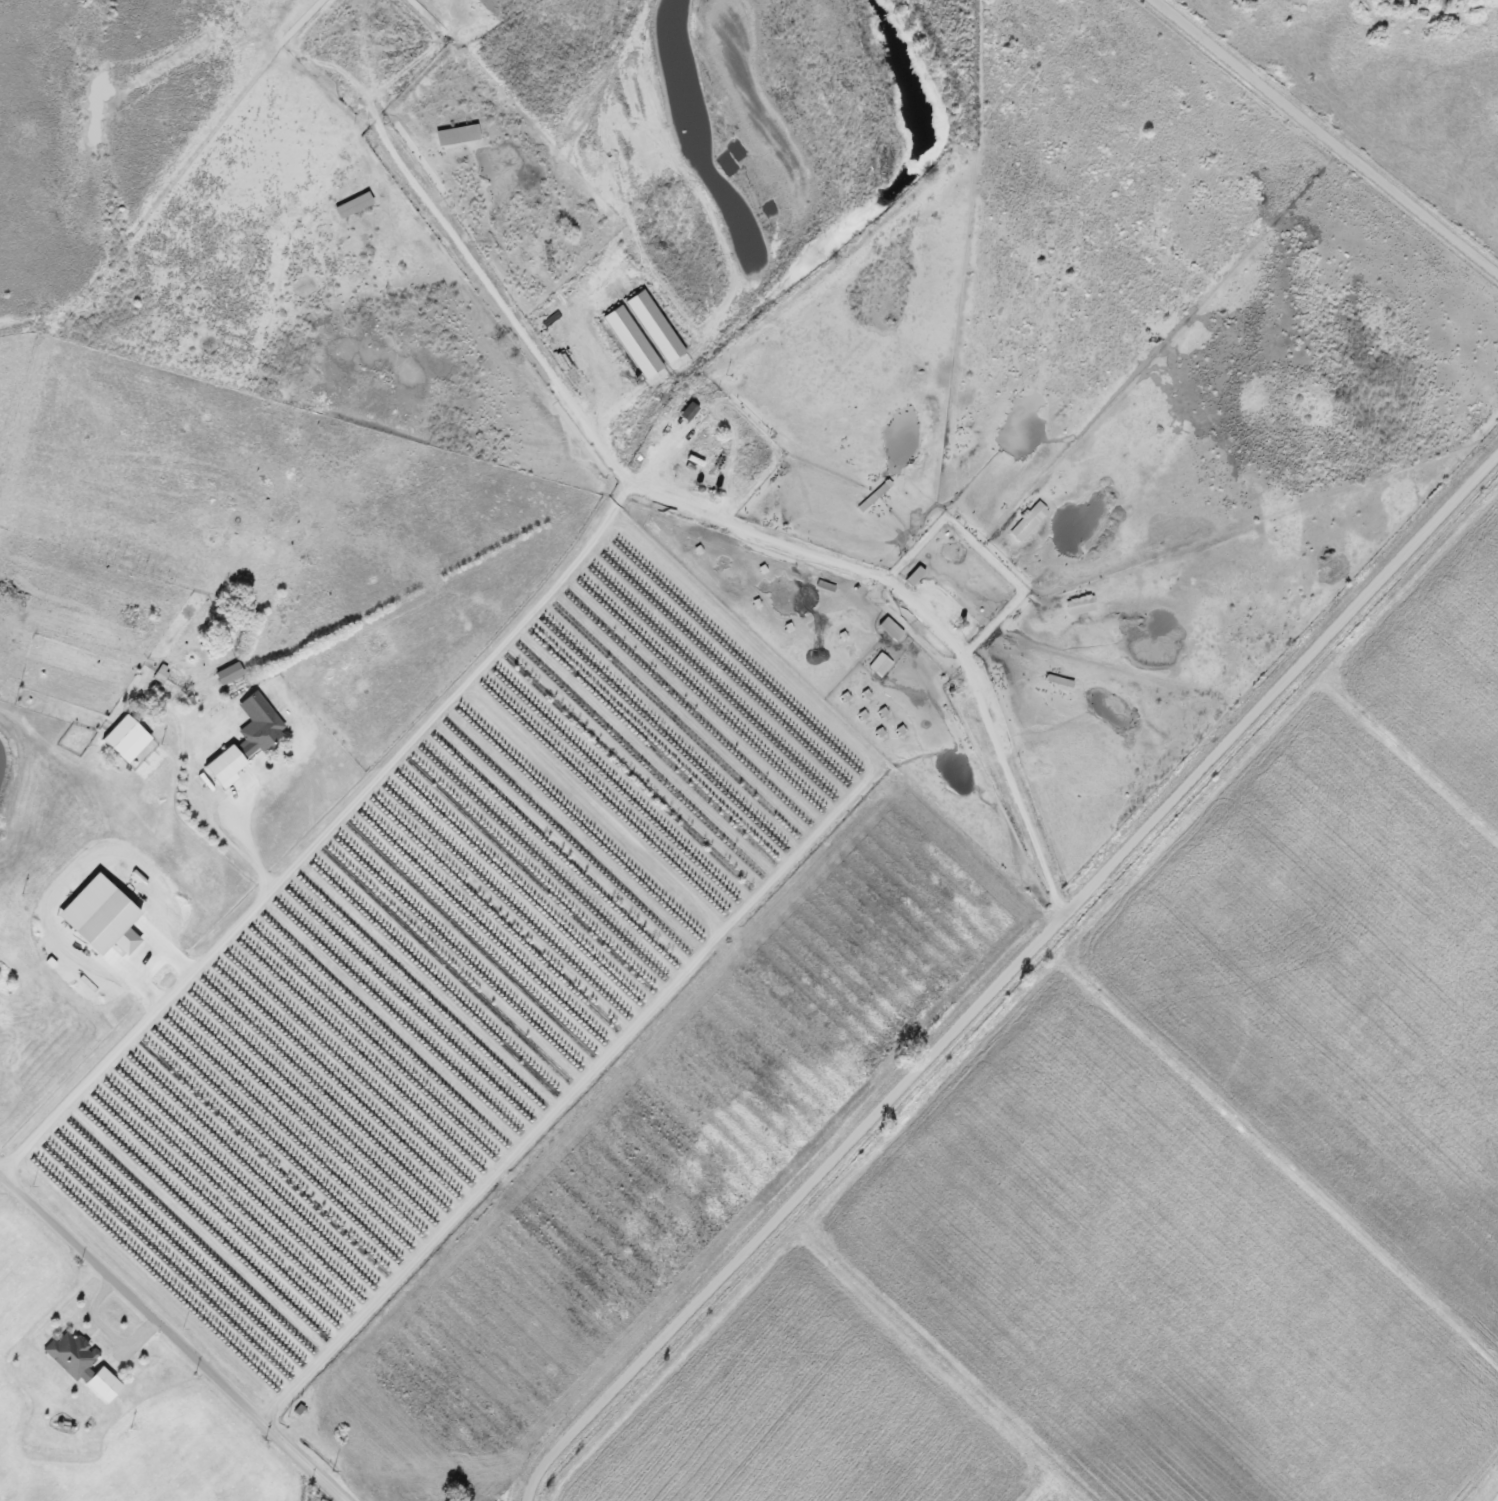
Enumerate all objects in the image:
building: (458, 136)
road: (1327, 136)
building: (354, 206)
building: (655, 328)
building: (633, 343)
building: (689, 413)
building: (1030, 522)
building: (916, 576)
building: (1082, 607)
building: (892, 629)
building: (881, 665)
building: (230, 674)
building: (258, 726)
building: (127, 740)
building: (226, 767)
building: (102, 918)
road: (1006, 975)
road: (173, 1335)
building: (73, 1357)
building: (104, 1386)

